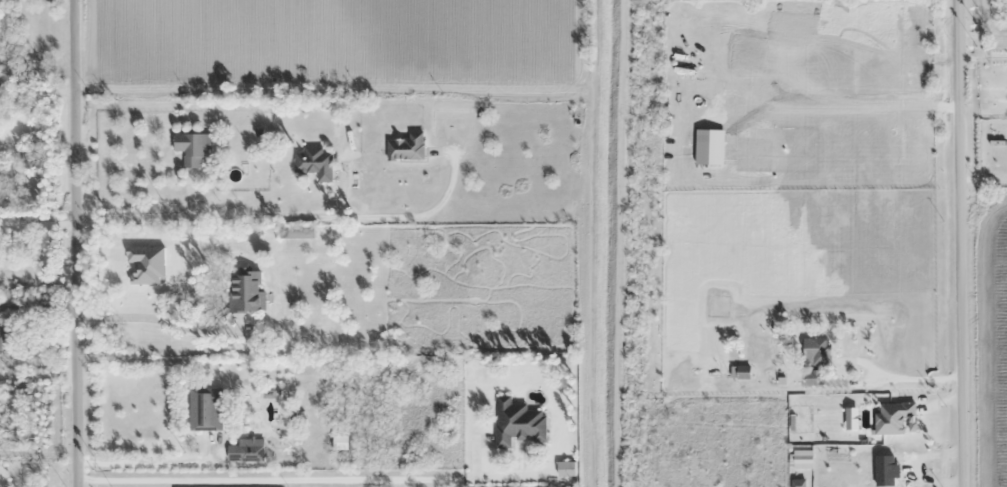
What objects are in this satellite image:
crop: (331, 43)
building: (192, 147)
building: (406, 148)
building: (314, 163)
road: (251, 217)
building: (297, 233)
road: (79, 243)
road: (956, 243)
building: (245, 291)
building: (5, 336)
crop: (997, 350)
building: (816, 351)
building: (744, 372)
building: (205, 409)
building: (517, 422)
building: (249, 450)
road: (288, 476)

